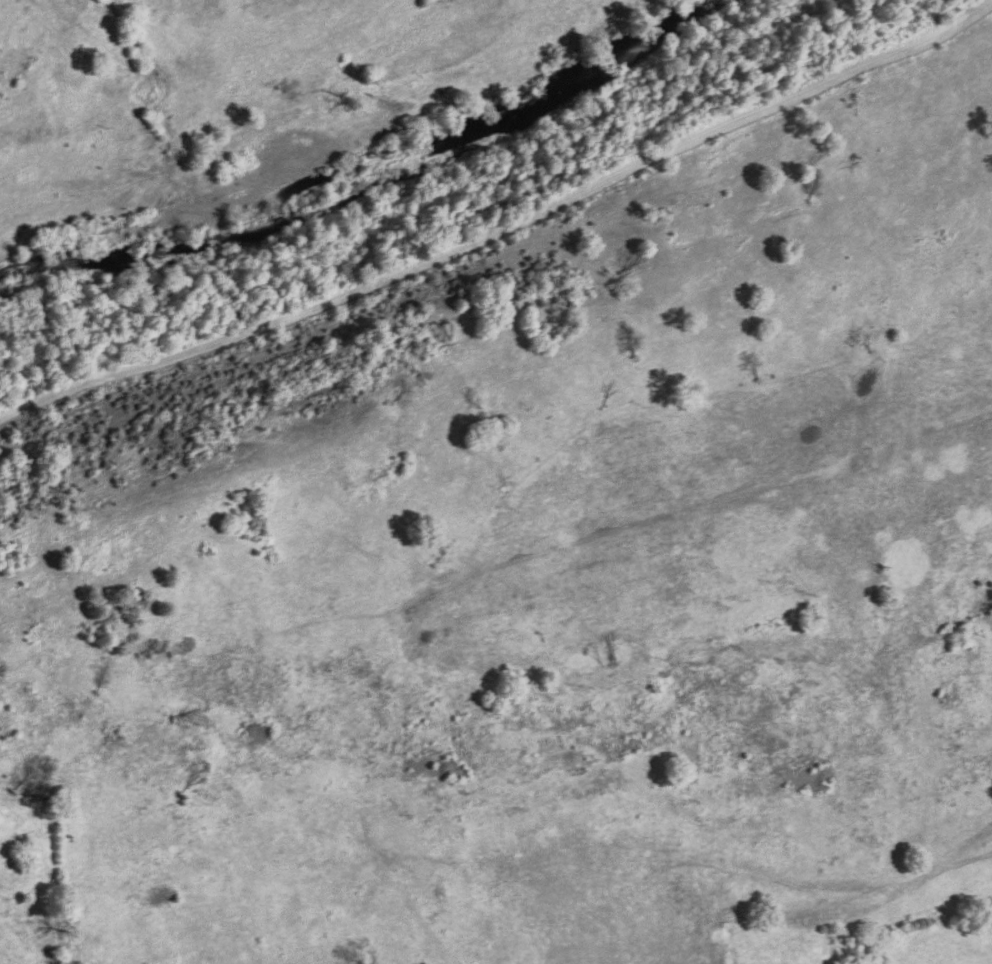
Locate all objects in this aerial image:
road: (509, 250)

